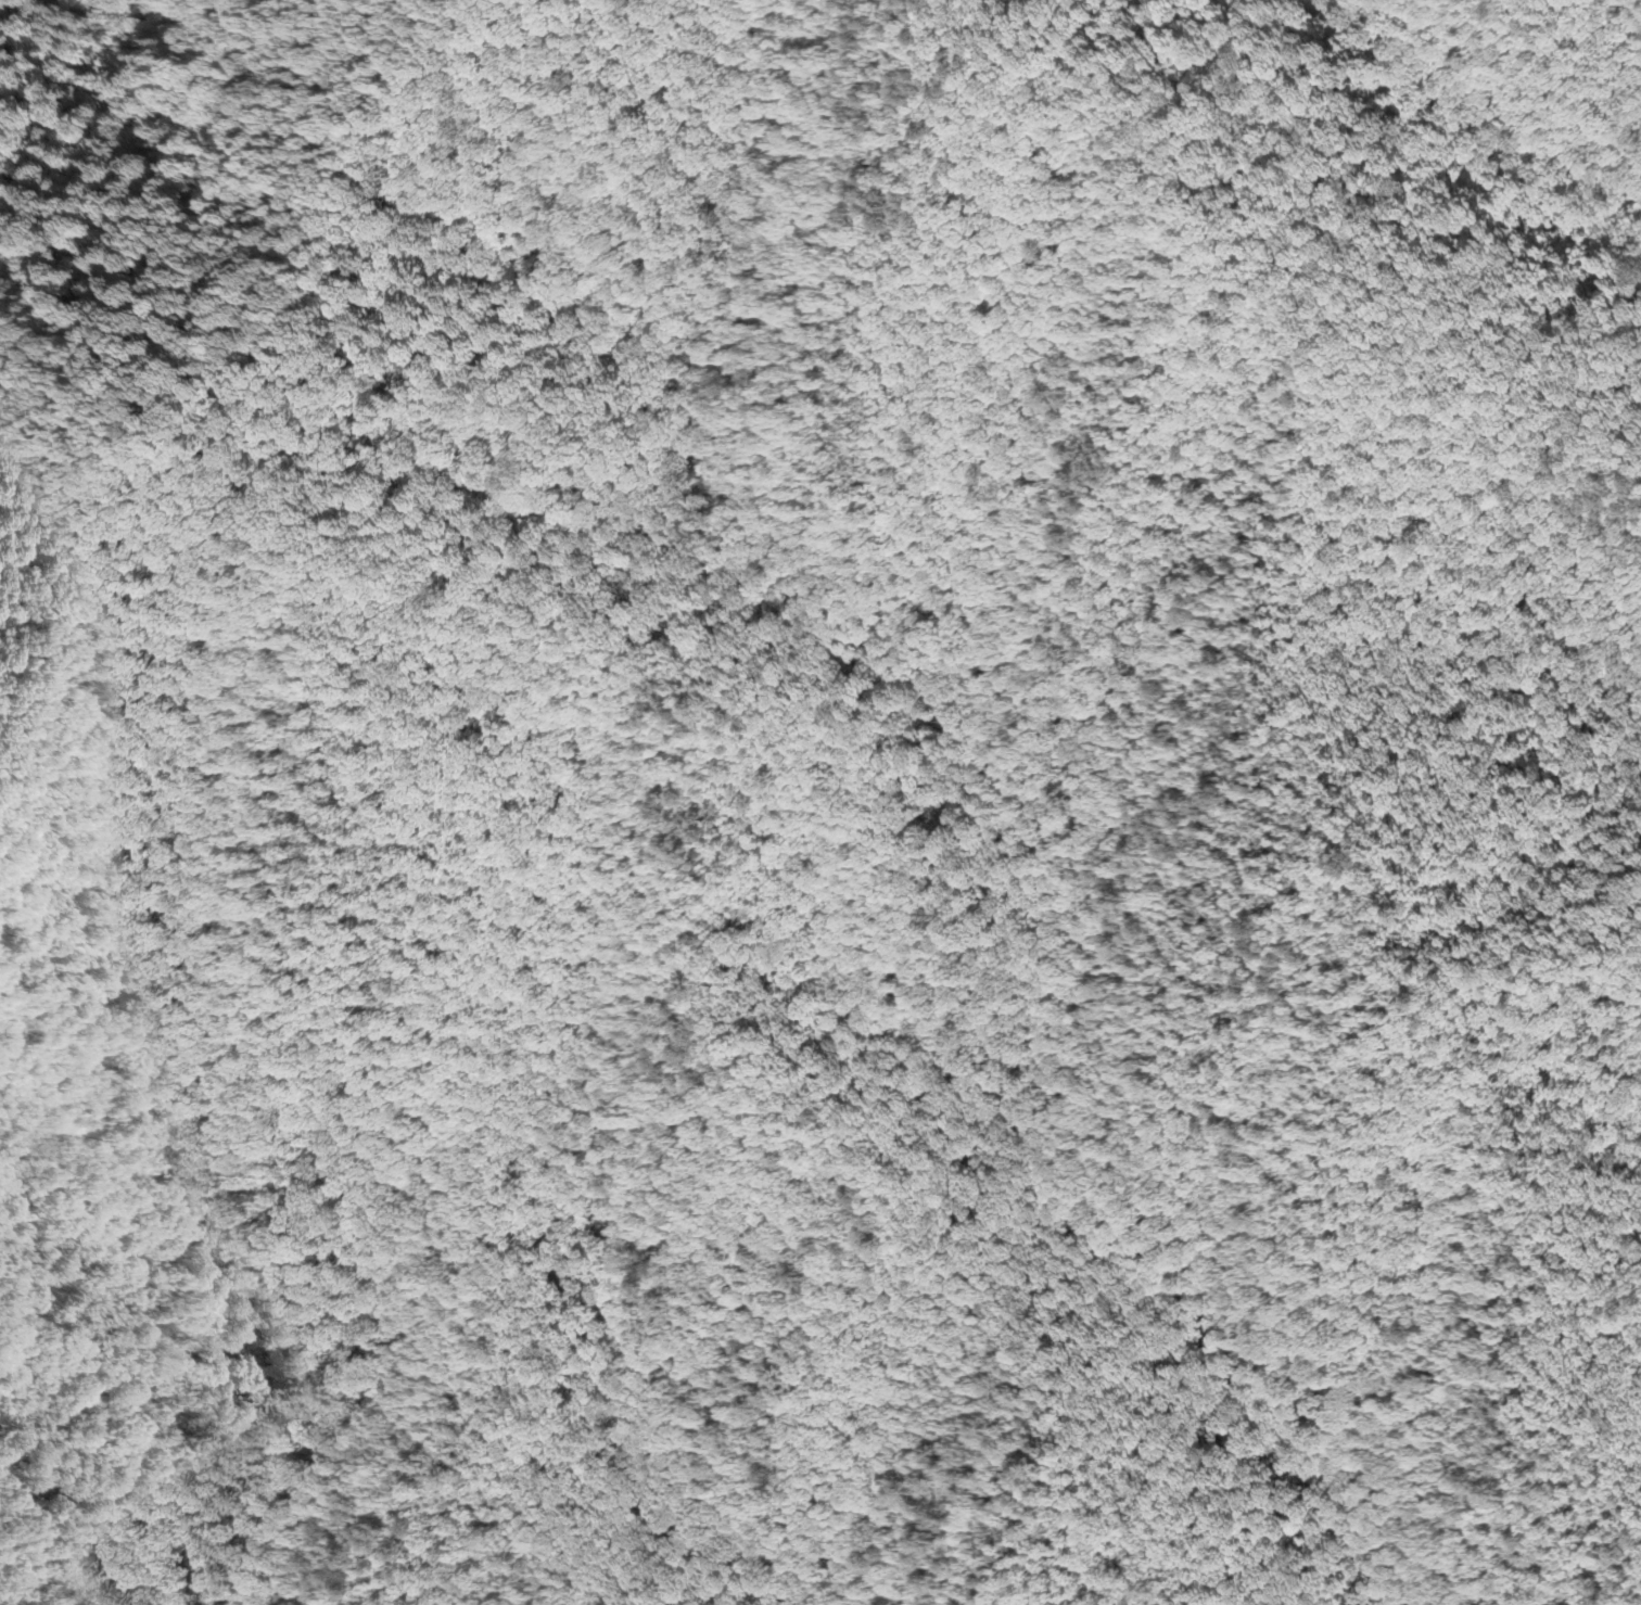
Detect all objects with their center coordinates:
road: (715, 749)

